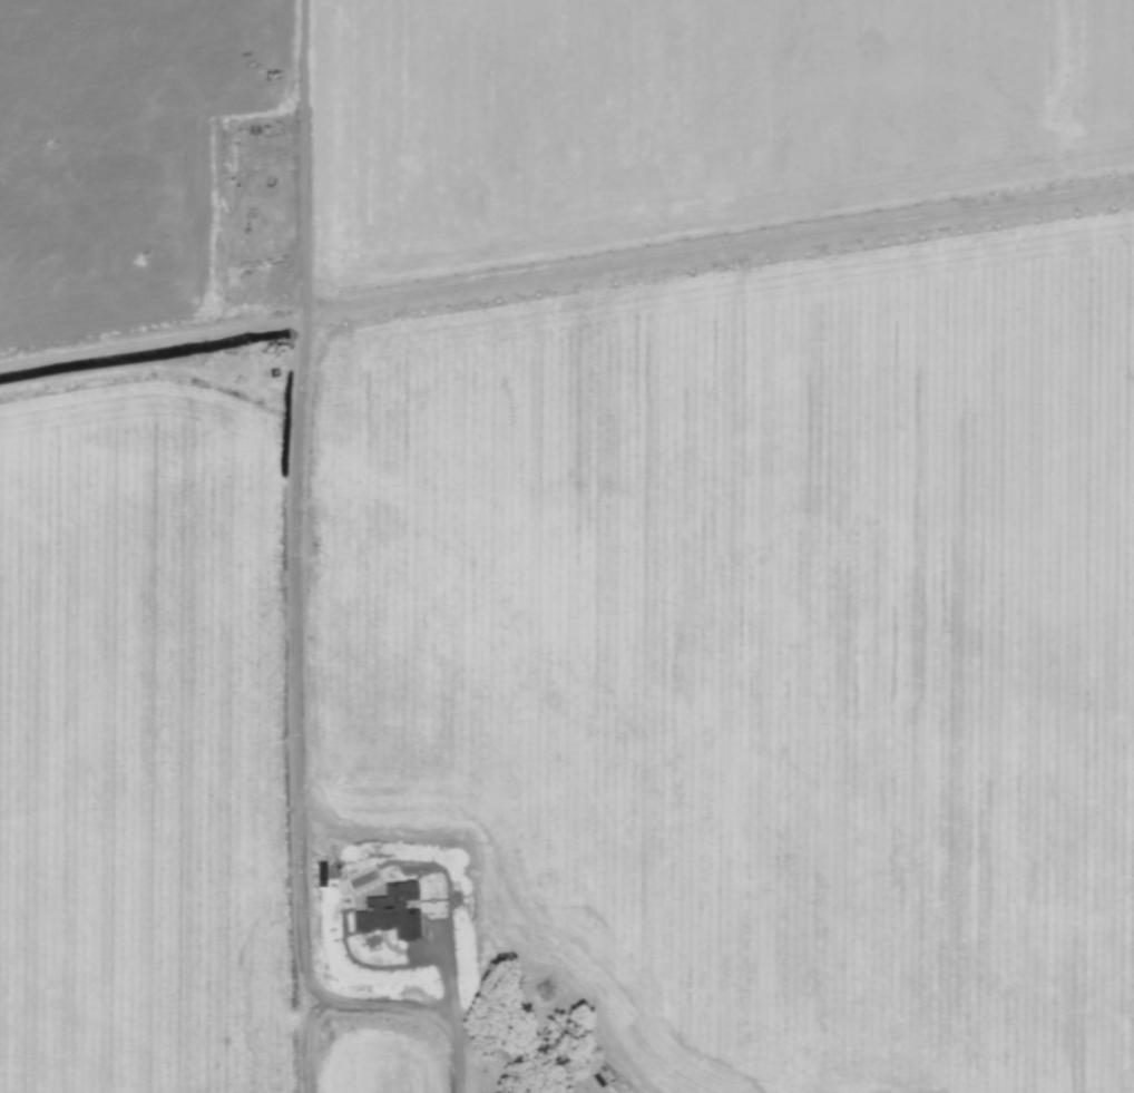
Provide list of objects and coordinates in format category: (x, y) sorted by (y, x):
road: (302, 158)
road: (296, 606)
road: (310, 1042)

